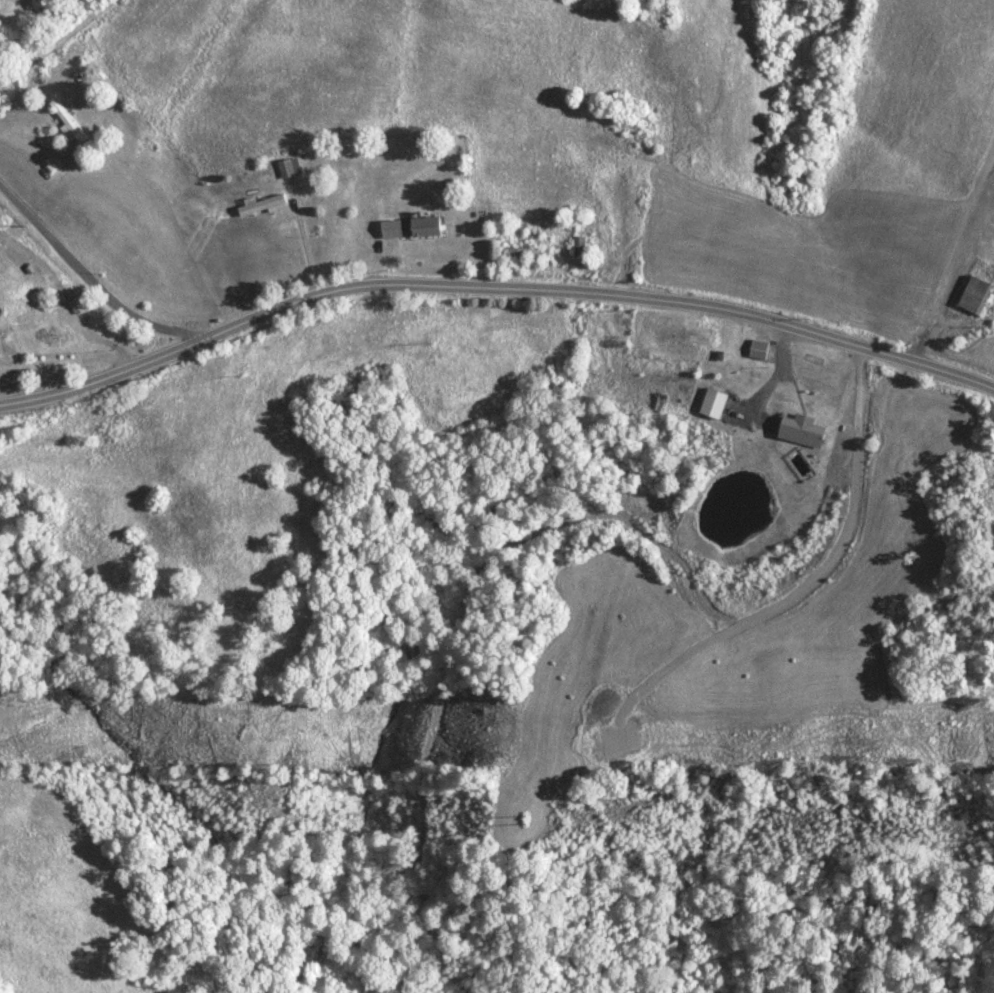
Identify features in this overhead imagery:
building: (67, 122)
building: (425, 228)
building: (579, 247)
building: (527, 253)
road: (493, 286)
building: (975, 288)
road: (97, 293)
building: (759, 349)
building: (713, 403)
building: (801, 430)

